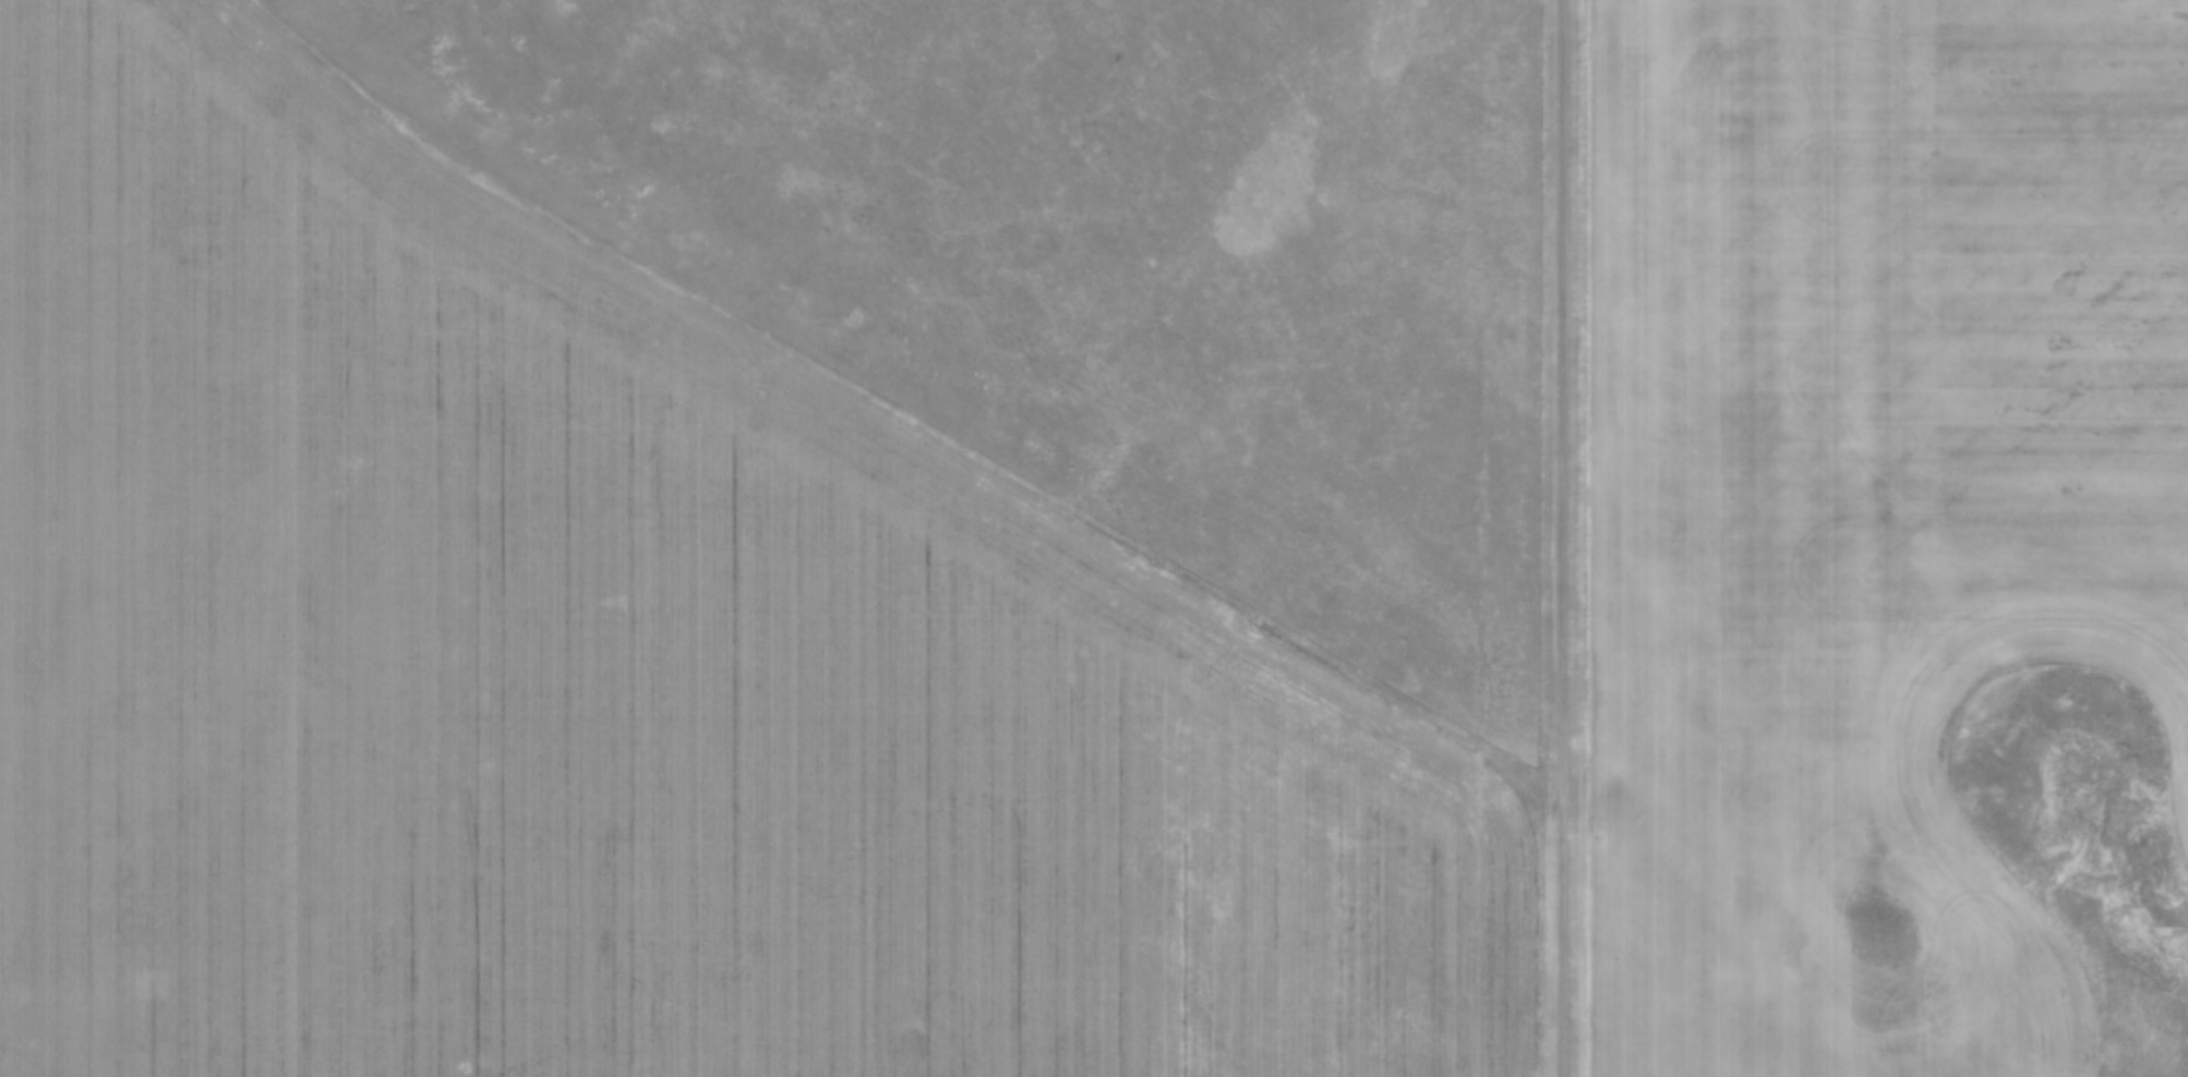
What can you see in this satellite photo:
road: (1564, 538)

